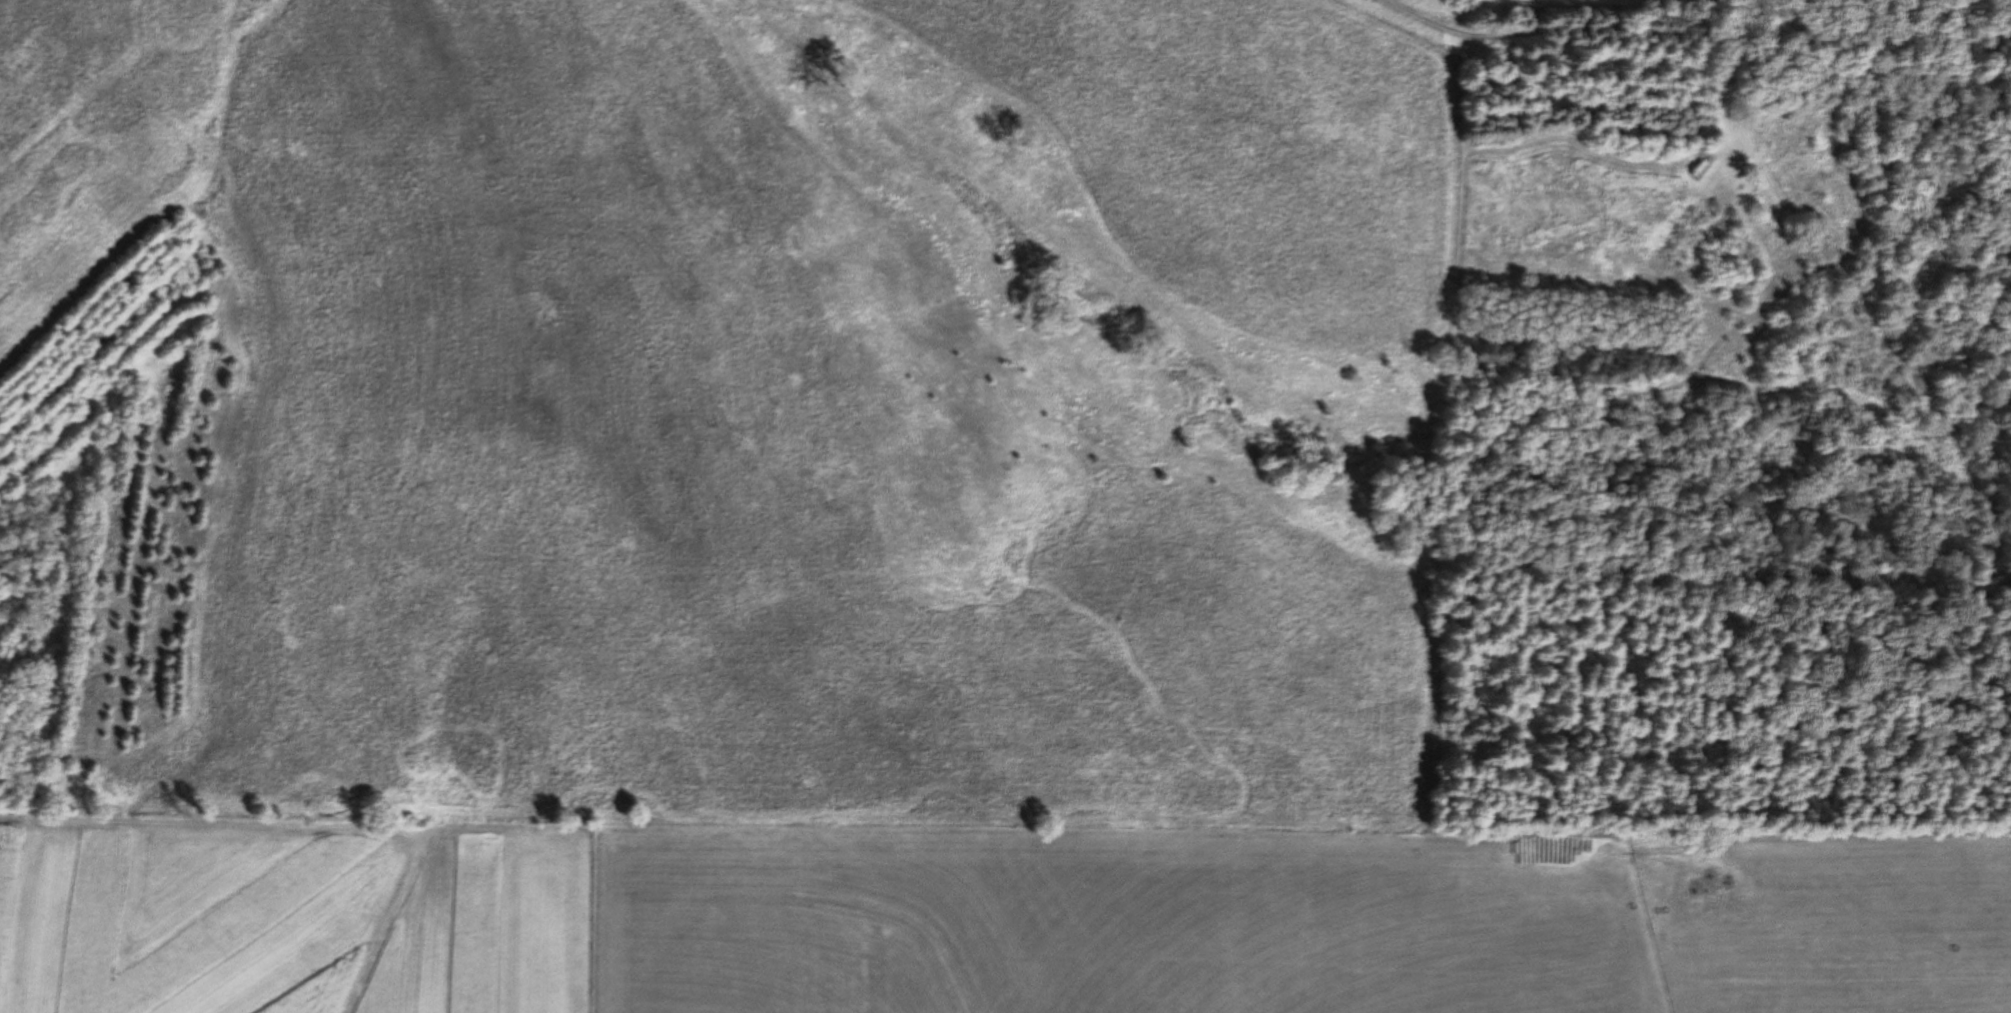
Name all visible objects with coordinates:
building: (1727, 83)
building: (1700, 170)

